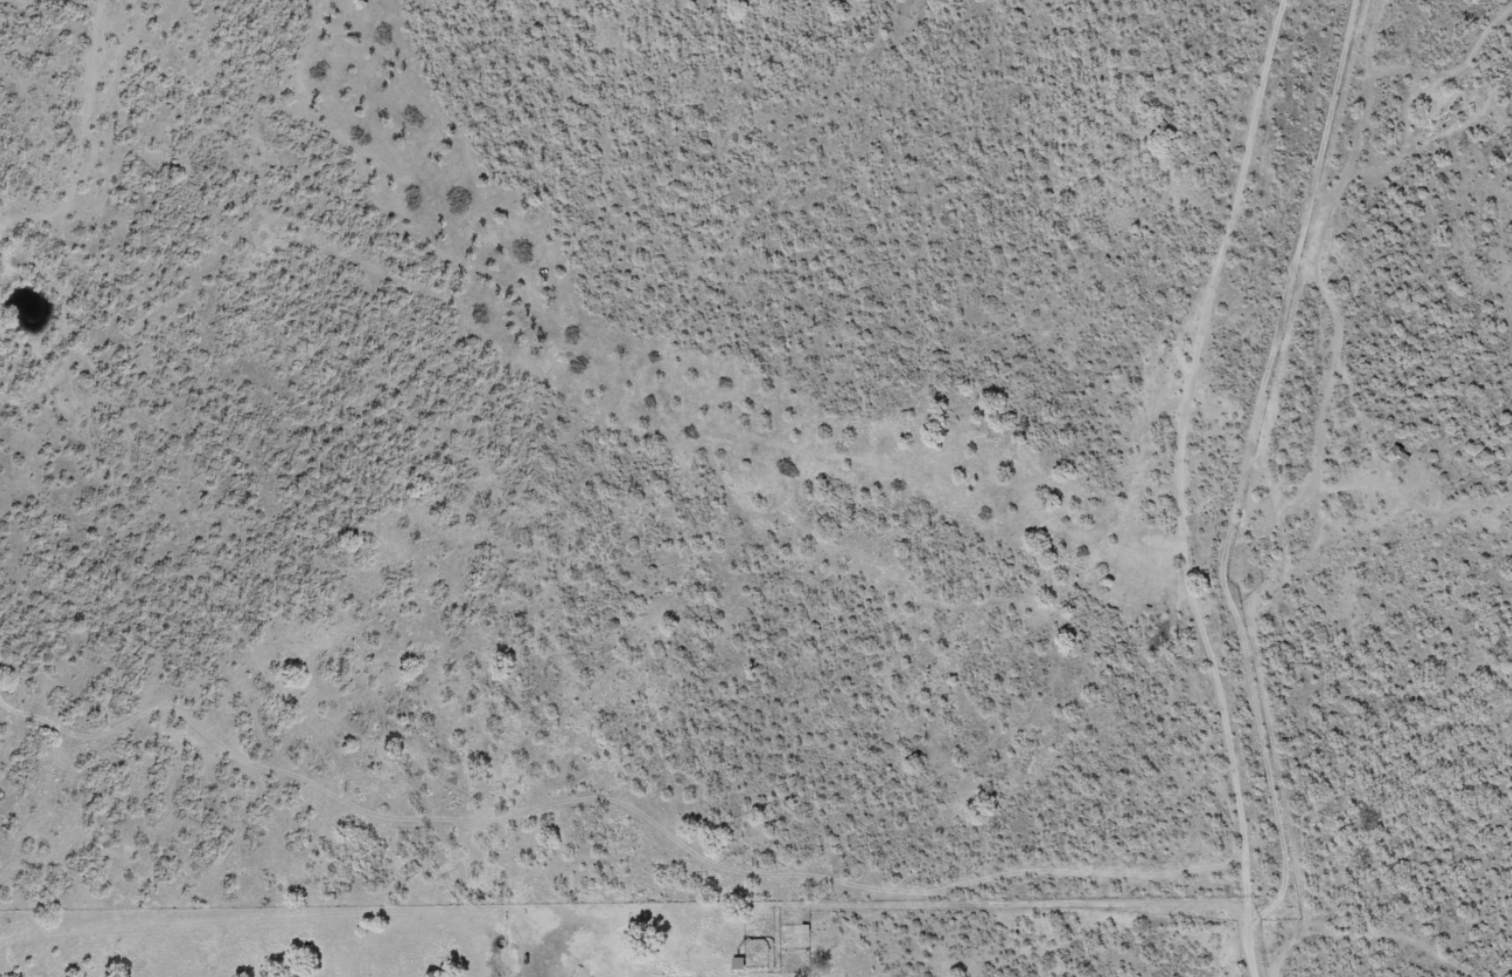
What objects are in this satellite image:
road: (890, 655)
building: (742, 965)

